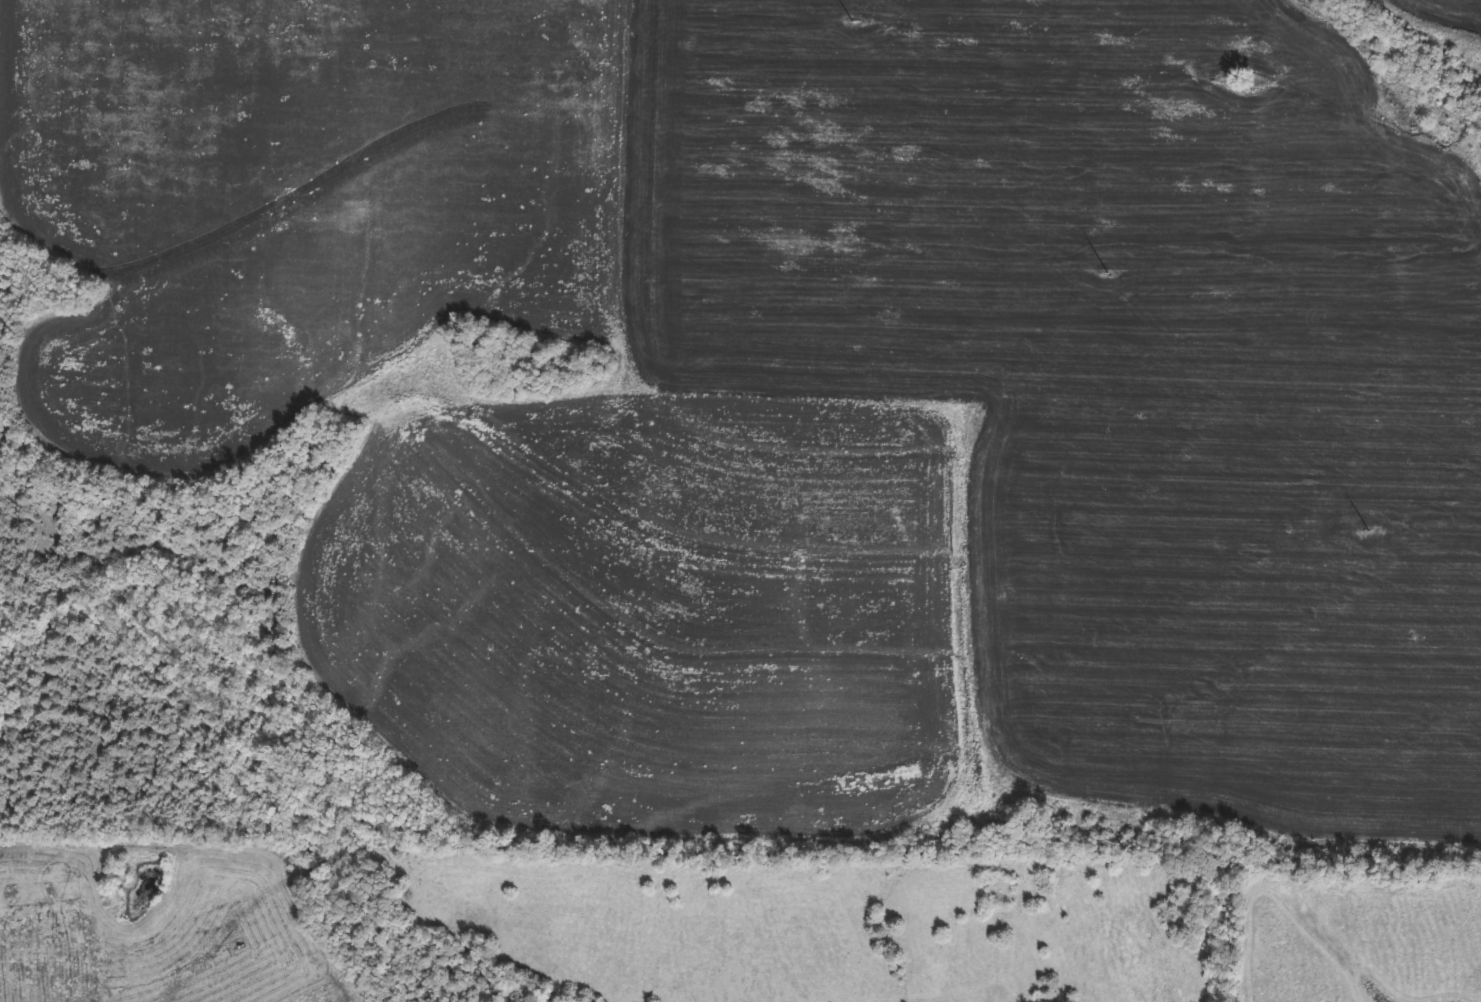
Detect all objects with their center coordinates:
power tower: (857, 24)
road: (552, 171)
power tower: (1110, 277)
power tower: (1372, 535)

